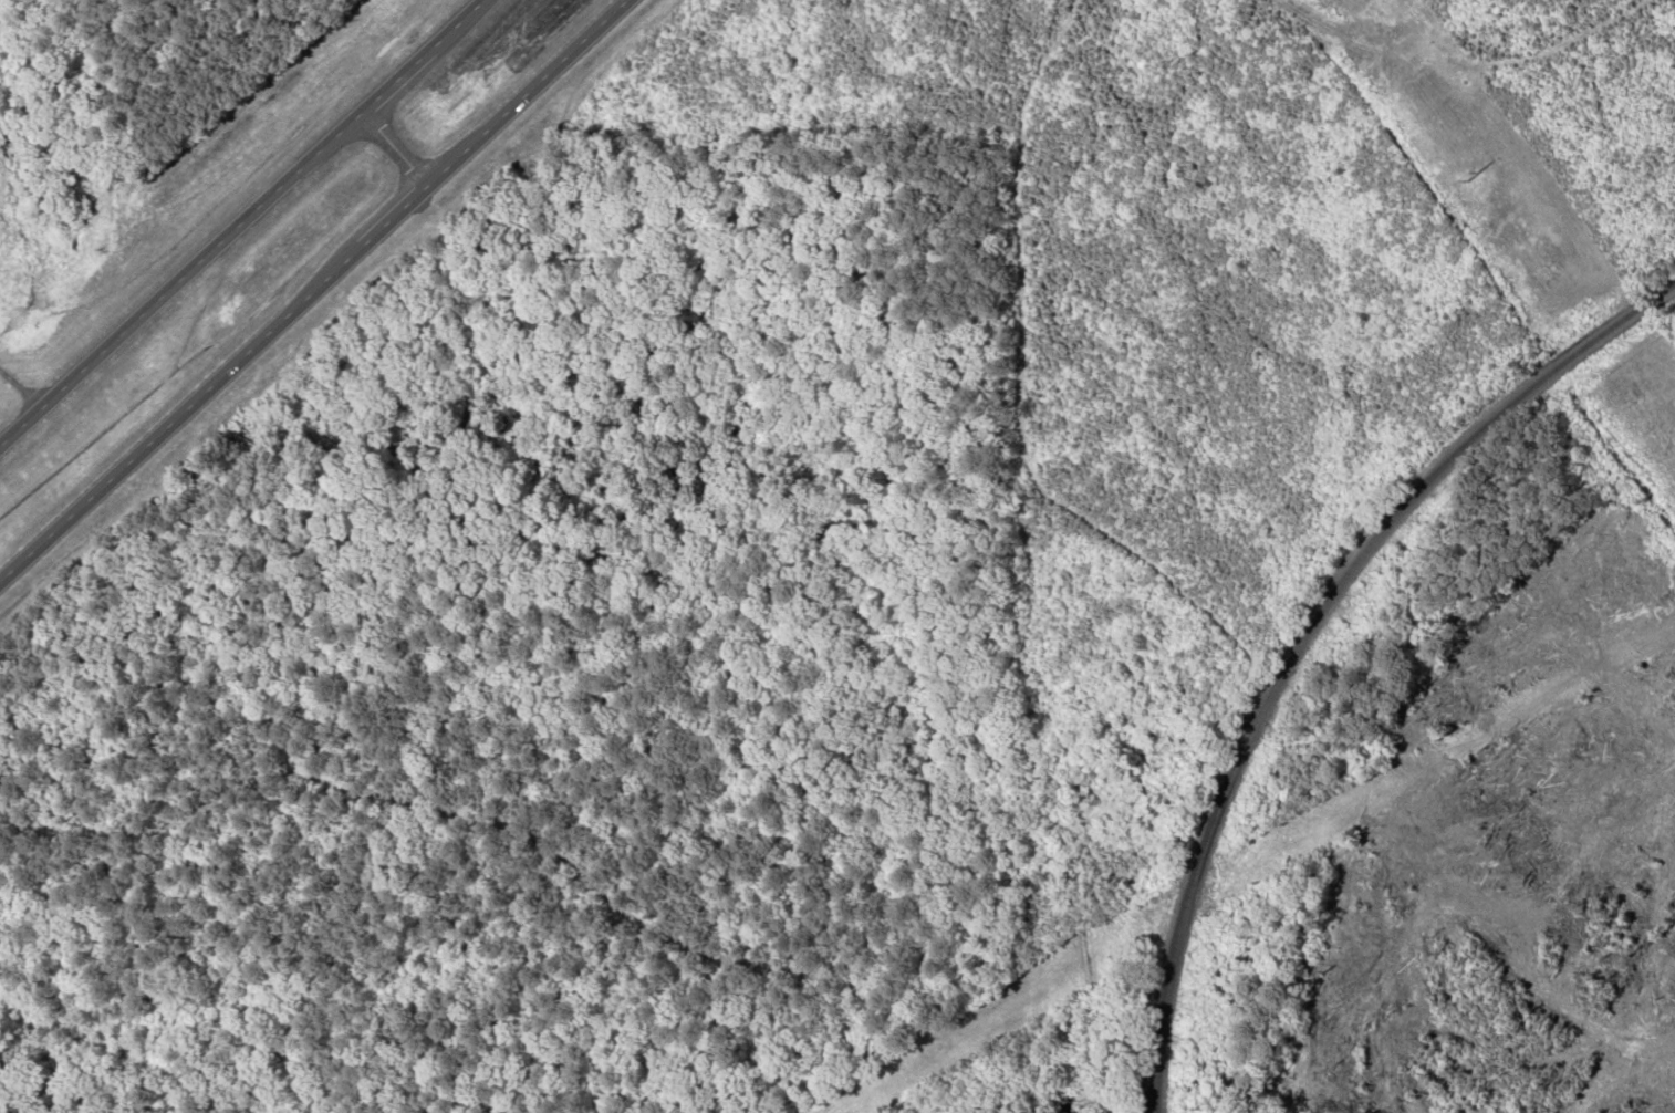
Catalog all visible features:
road: (394, 150)
road: (241, 223)
road: (314, 291)
road: (21, 388)
railway: (1353, 649)

